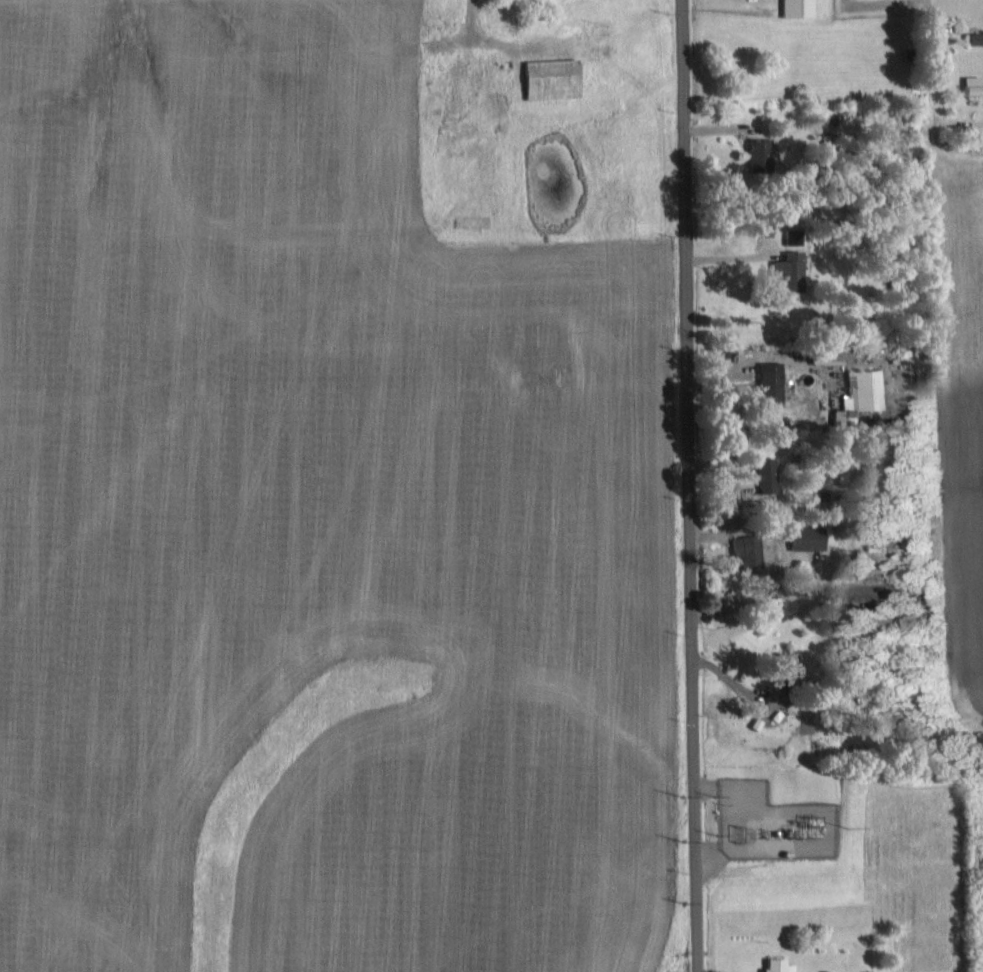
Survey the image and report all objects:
building: (796, 8)
building: (975, 38)
building: (971, 85)
building: (760, 154)
building: (789, 271)
building: (769, 384)
building: (858, 397)
building: (765, 474)
road: (689, 486)
building: (806, 537)
building: (747, 551)
building: (777, 965)

